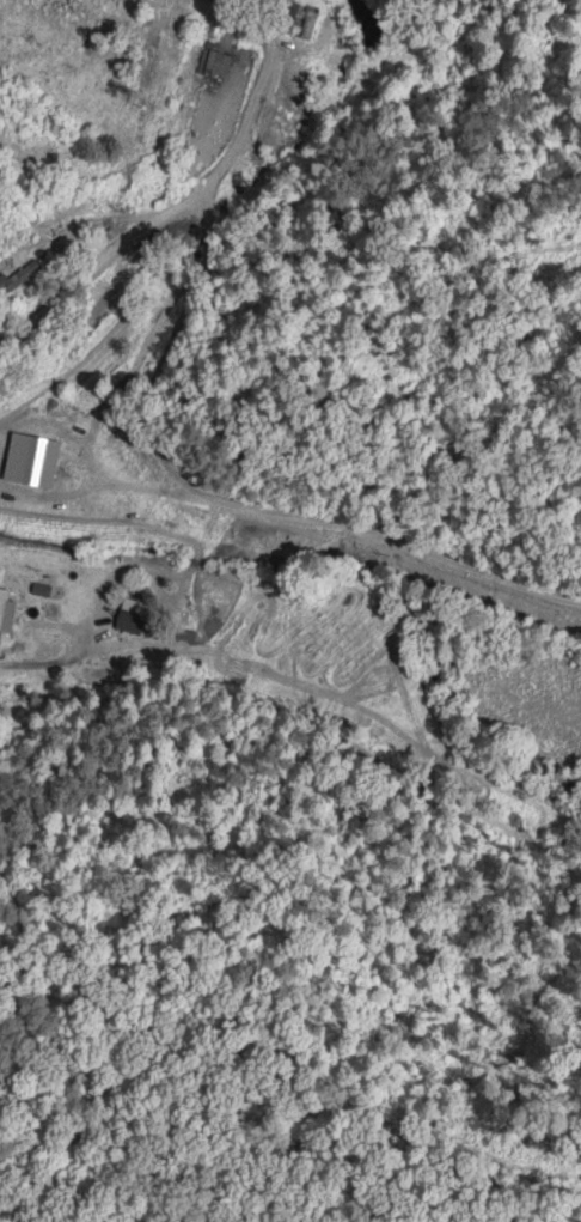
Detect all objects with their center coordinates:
road: (153, 199)

